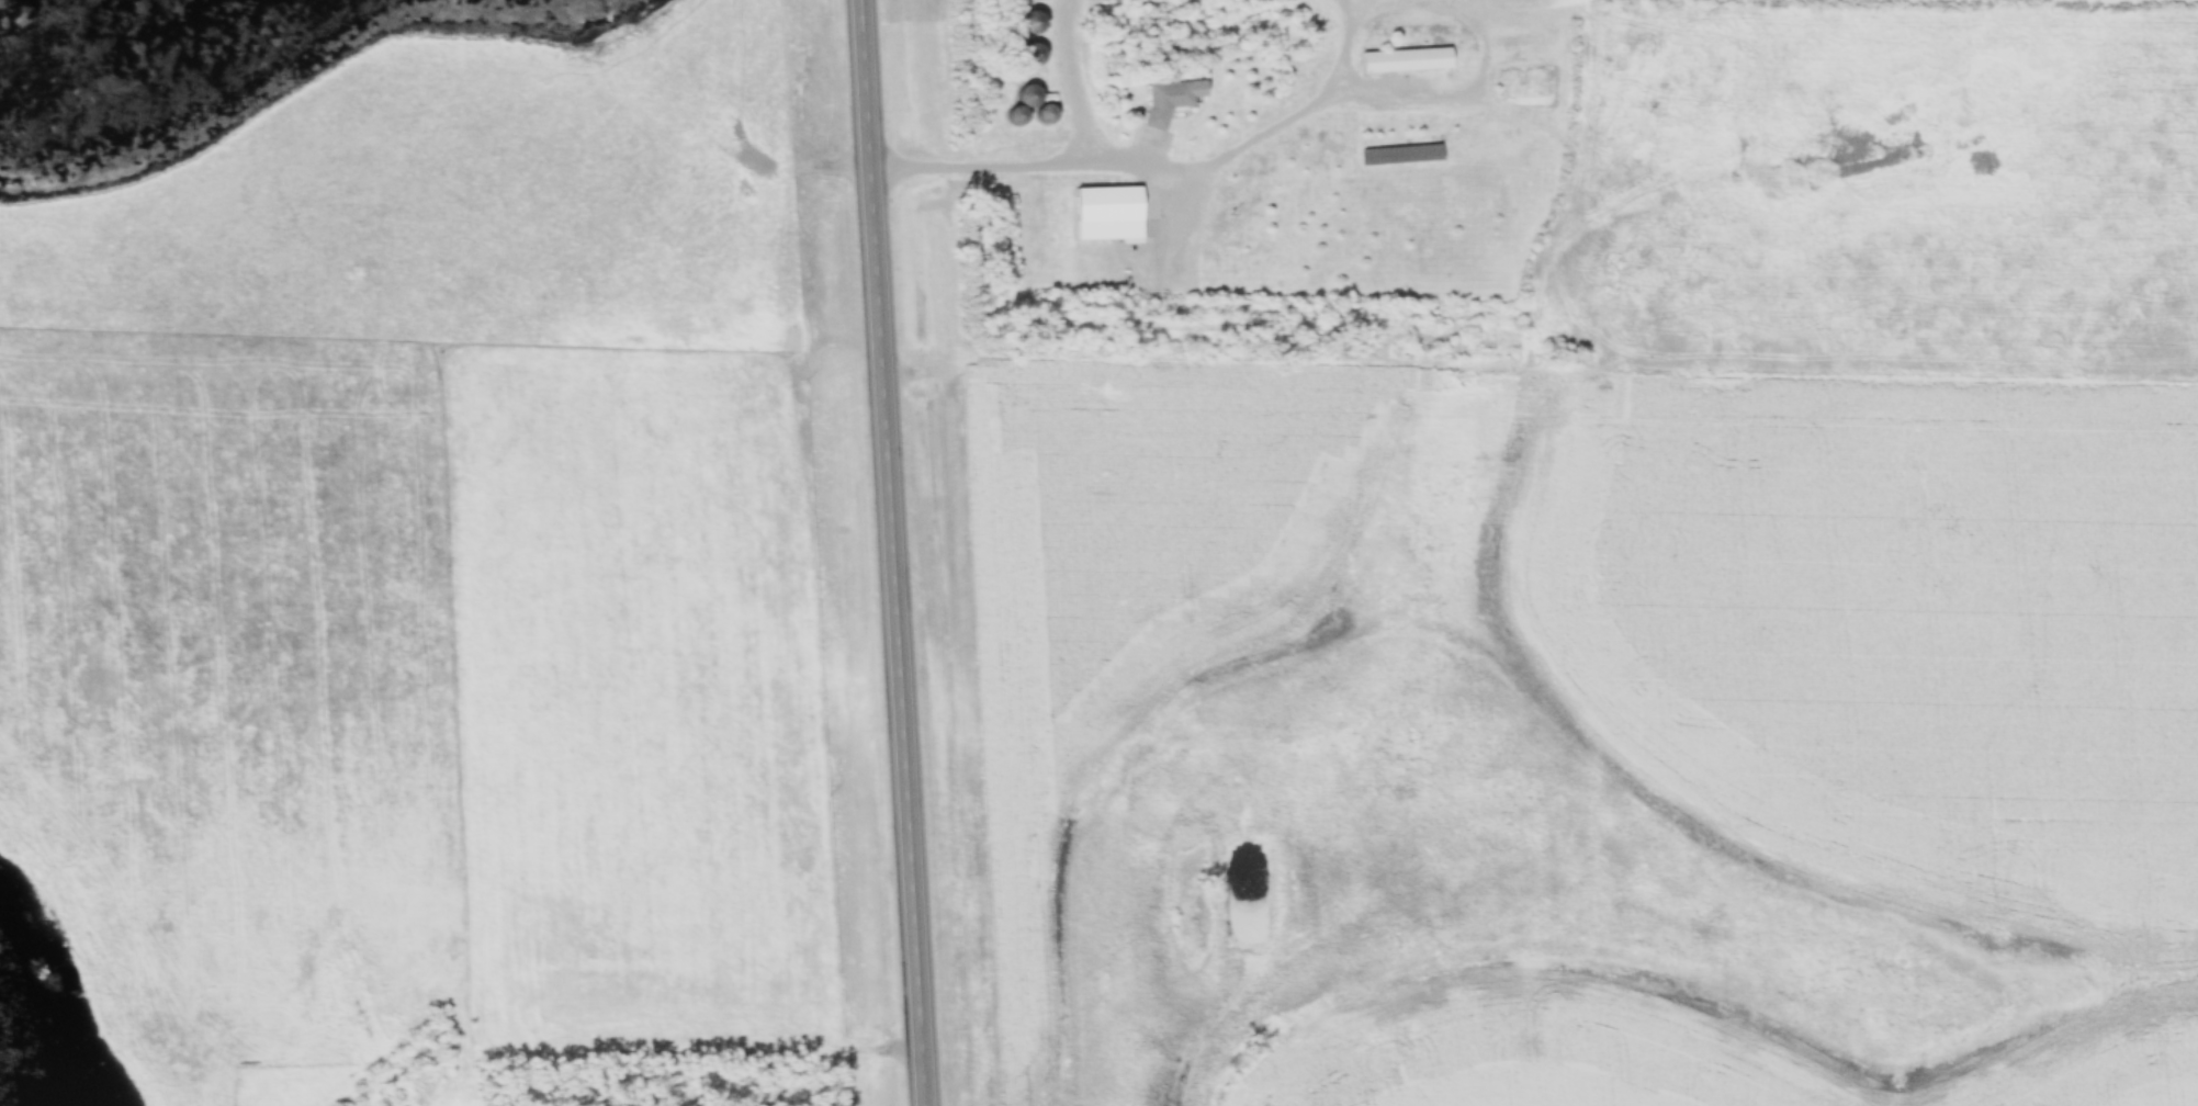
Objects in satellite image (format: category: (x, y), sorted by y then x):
building: (1404, 59)
road: (1077, 83)
building: (1163, 100)
building: (1015, 114)
road: (1269, 134)
building: (1400, 155)
road: (987, 168)
building: (1106, 212)
road: (895, 552)

